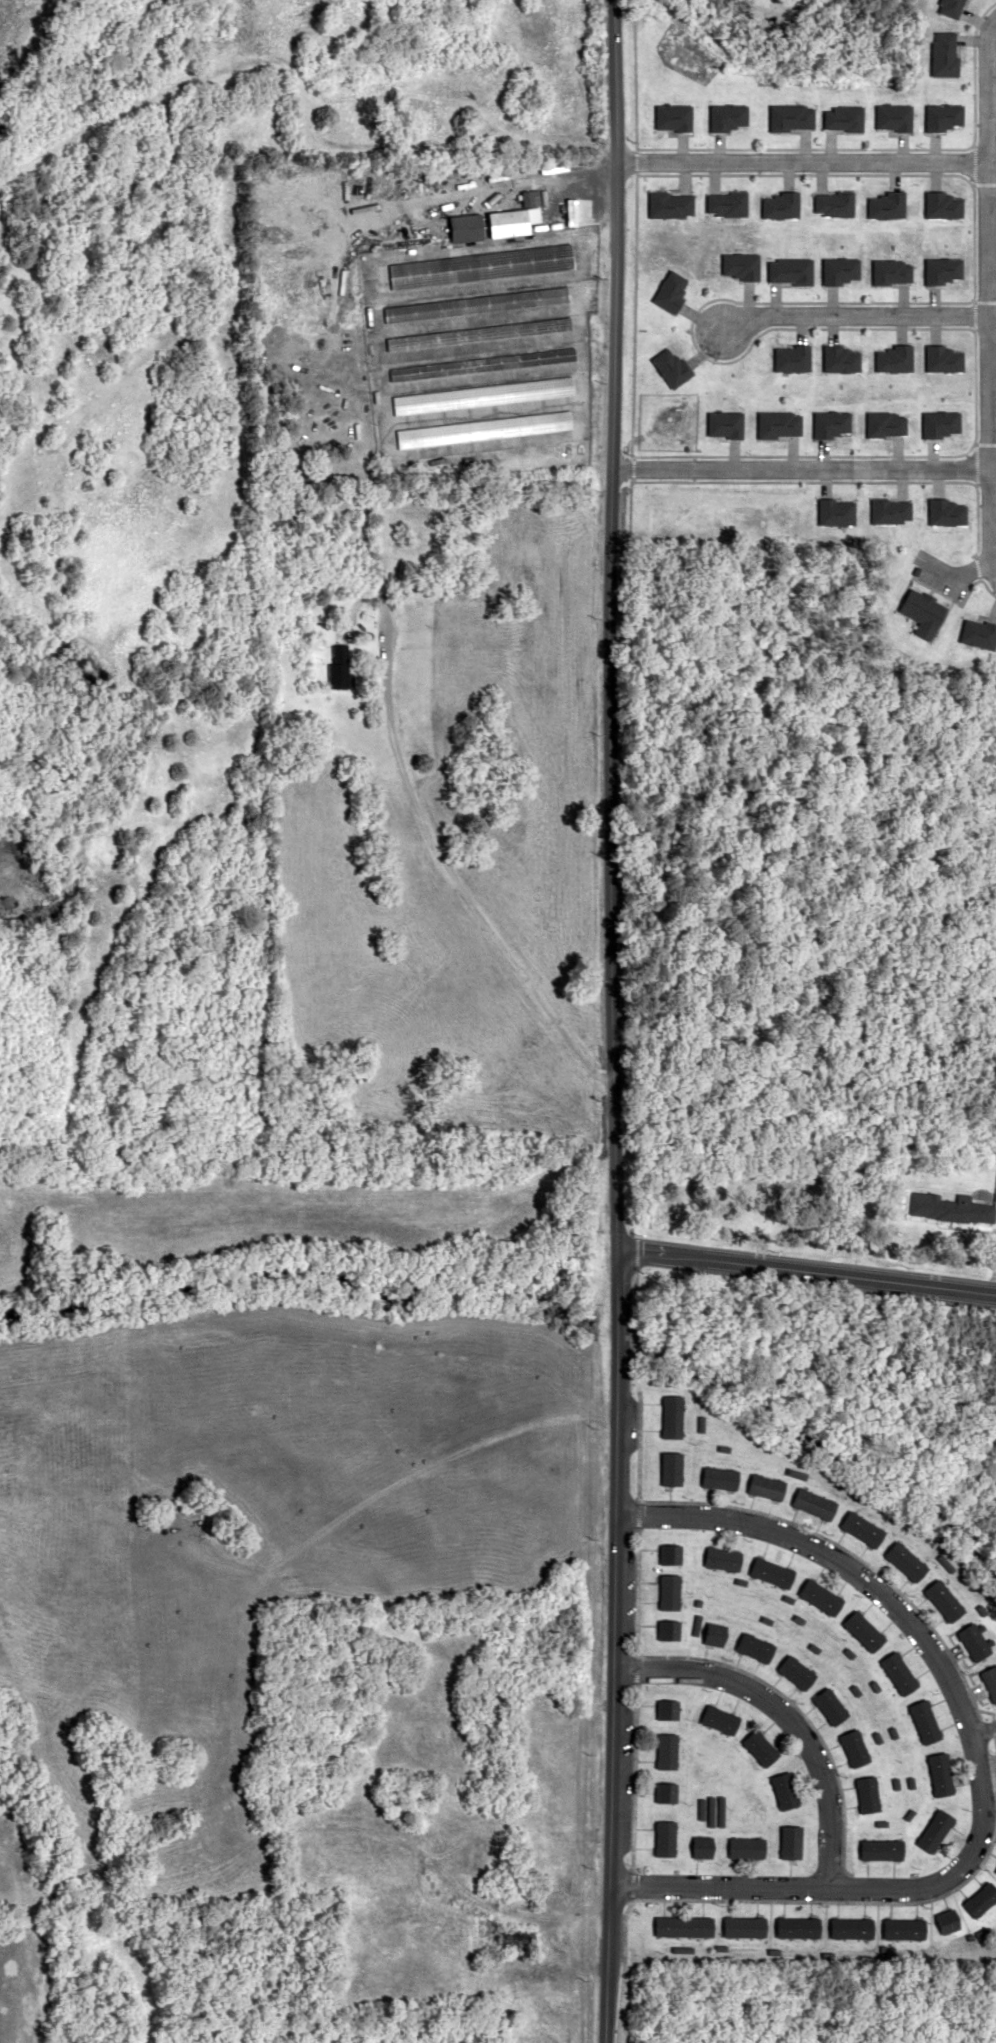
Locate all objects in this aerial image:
building: (480, 266)
building: (476, 305)
building: (478, 333)
building: (481, 365)
building: (942, 371)
building: (481, 395)
building: (482, 430)
building: (283, 514)
building: (339, 667)
road: (421, 824)
road: (607, 1021)
building: (924, 1205)
road: (816, 1255)
road: (804, 1271)
building: (671, 1416)
building: (671, 1468)
building: (720, 1478)
building: (766, 1486)
building: (813, 1503)
building: (861, 1529)
building: (670, 1554)
building: (723, 1558)
road: (834, 1558)
building: (905, 1561)
building: (771, 1572)
building: (670, 1591)
building: (821, 1597)
building: (944, 1600)
building: (669, 1629)
building: (863, 1630)
road: (636, 1638)
building: (973, 1641)
building: (755, 1647)
building: (796, 1671)
building: (898, 1673)
building: (990, 1681)
building: (830, 1706)
building: (668, 1709)
road: (785, 1713)
building: (720, 1719)
building: (924, 1721)
road: (984, 1732)
building: (854, 1747)
building: (760, 1748)
building: (667, 1750)
building: (939, 1773)
building: (785, 1790)
building: (665, 1792)
building: (867, 1794)
building: (934, 1830)
building: (665, 1838)
building: (791, 1842)
building: (747, 1847)
building: (881, 1849)
building: (704, 1850)
building: (995, 1870)
road: (857, 1889)
building: (980, 1899)
building: (946, 1920)
building: (682, 1926)
building: (744, 1927)
building: (798, 1927)
building: (851, 1928)
building: (903, 1929)
building: (514, 1939)

